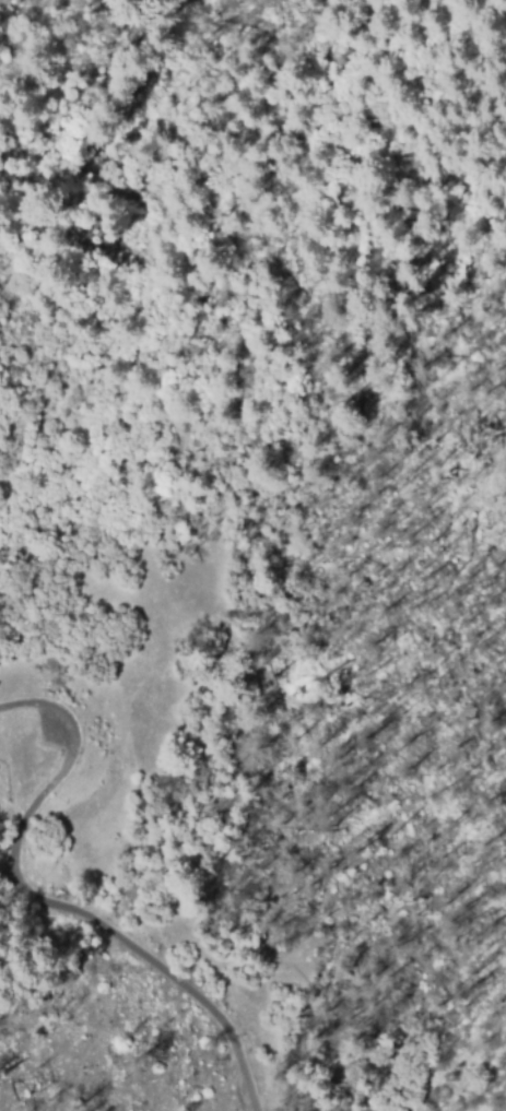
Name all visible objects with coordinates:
road: (49, 903)

